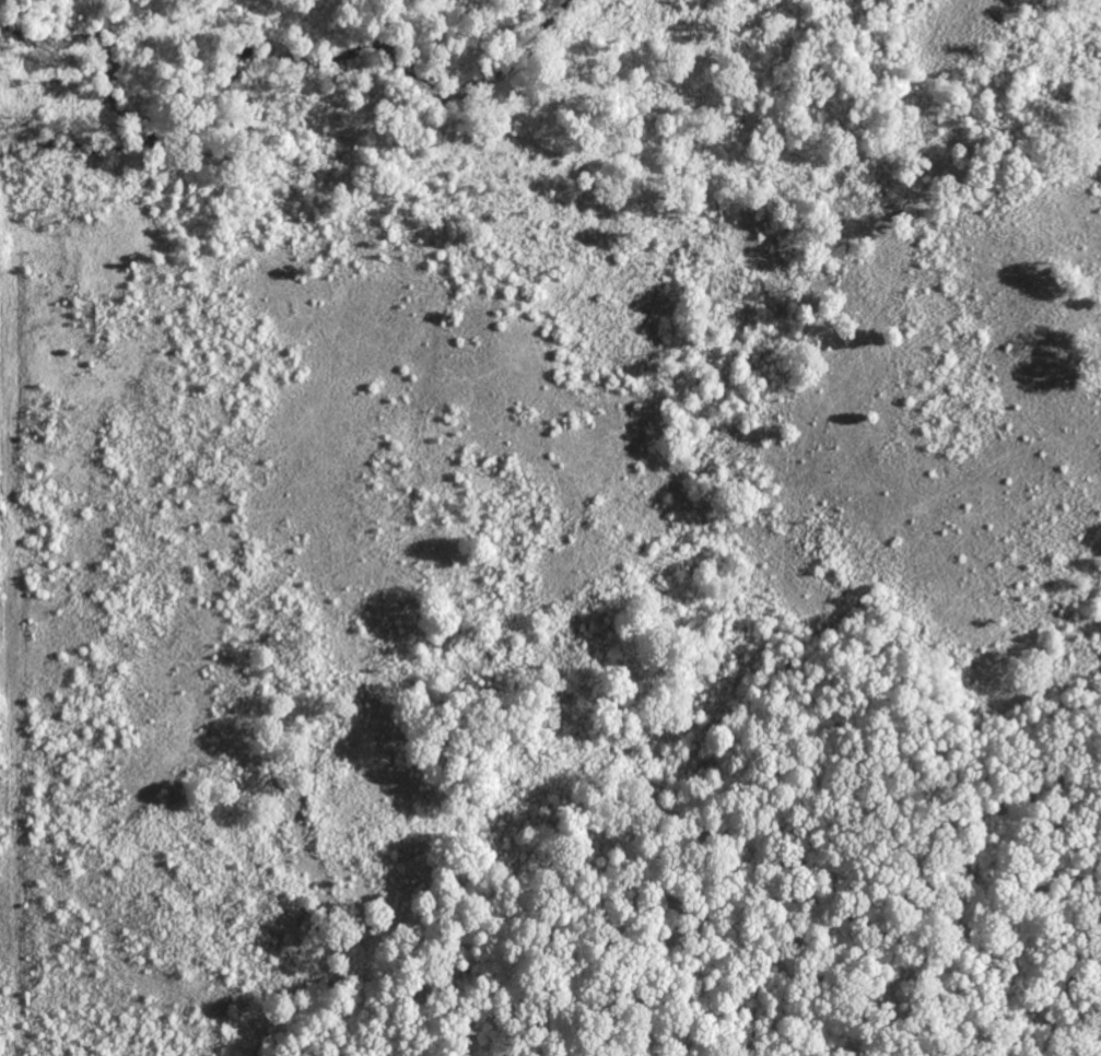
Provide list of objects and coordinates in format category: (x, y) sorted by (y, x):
road: (15, 620)

